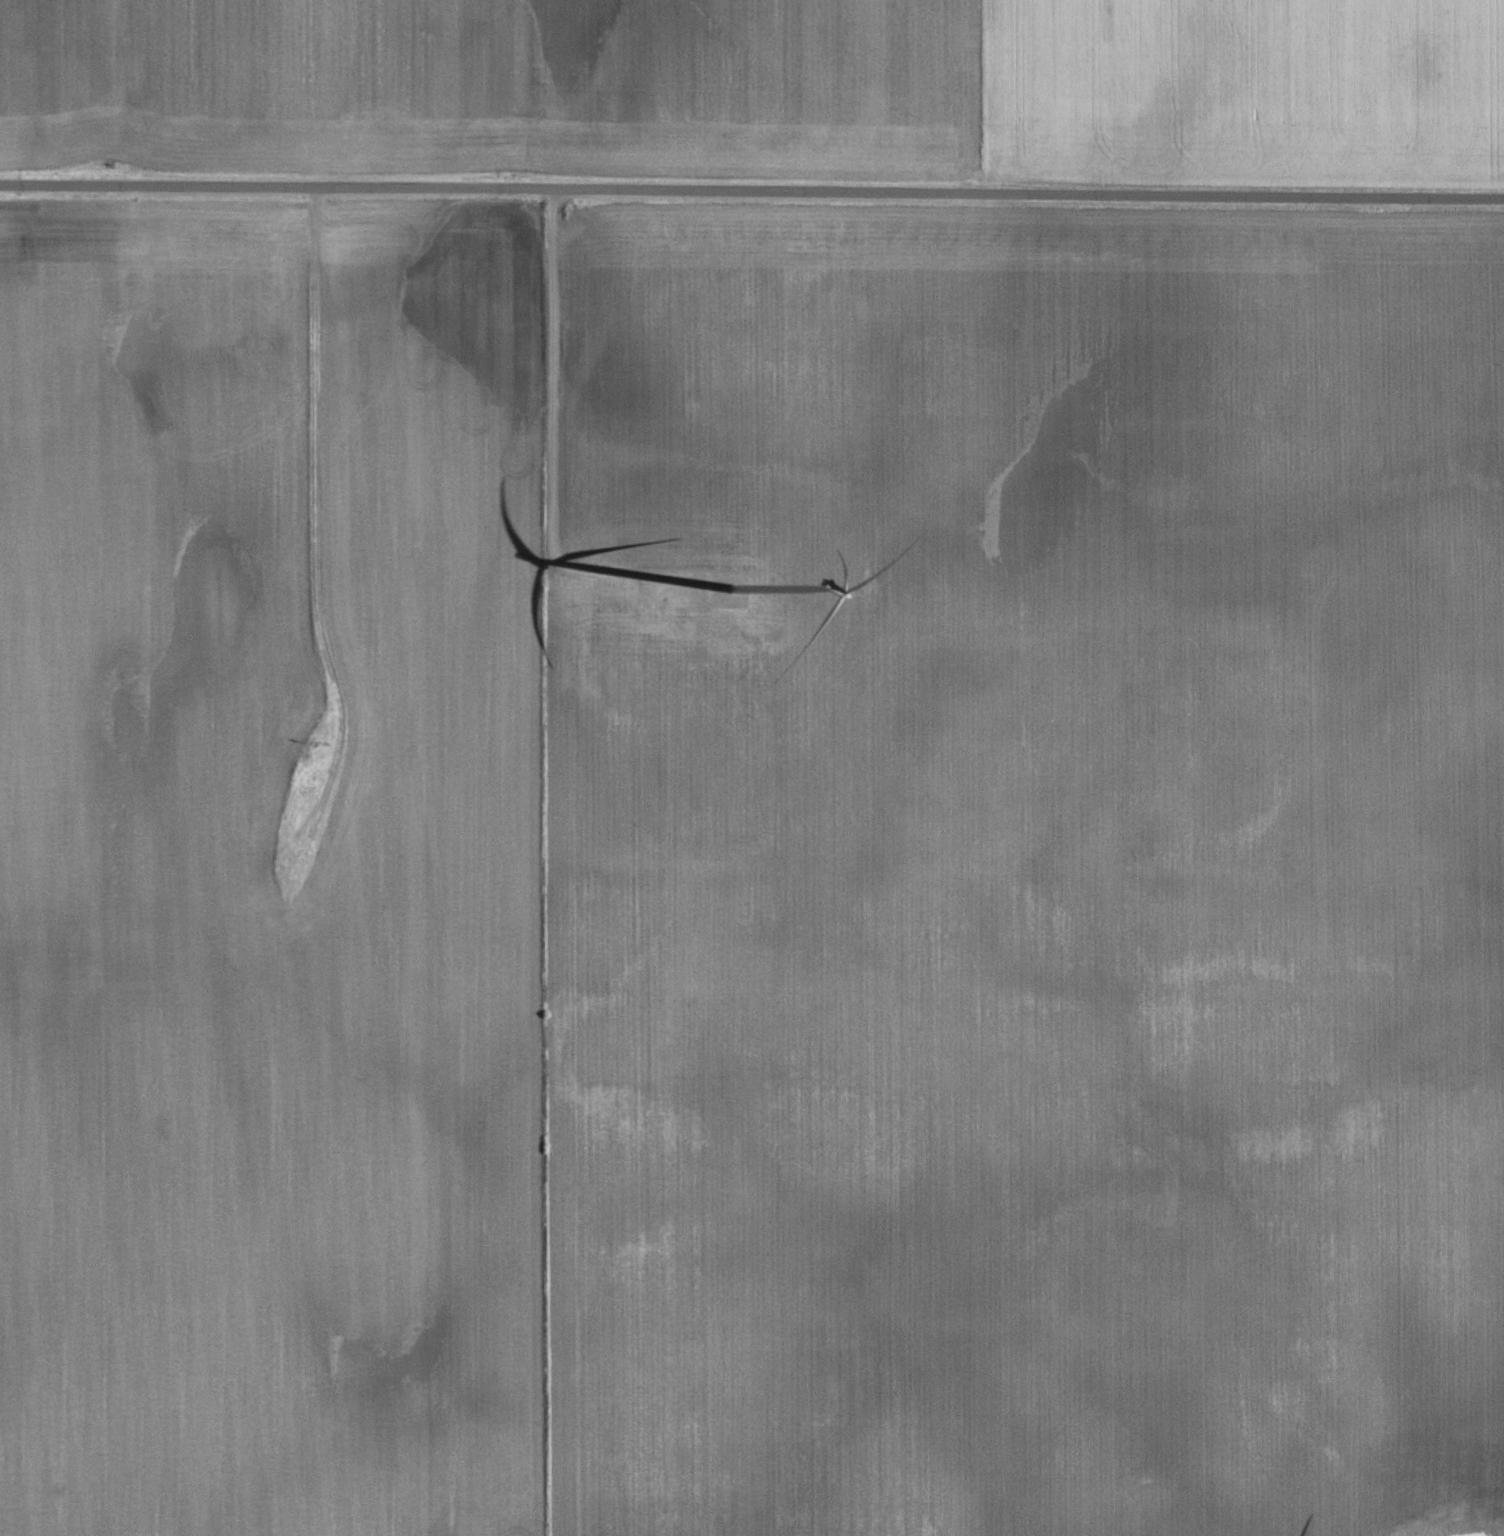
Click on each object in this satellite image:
road: (752, 189)
road: (310, 520)
wind turbine: (730, 587)

